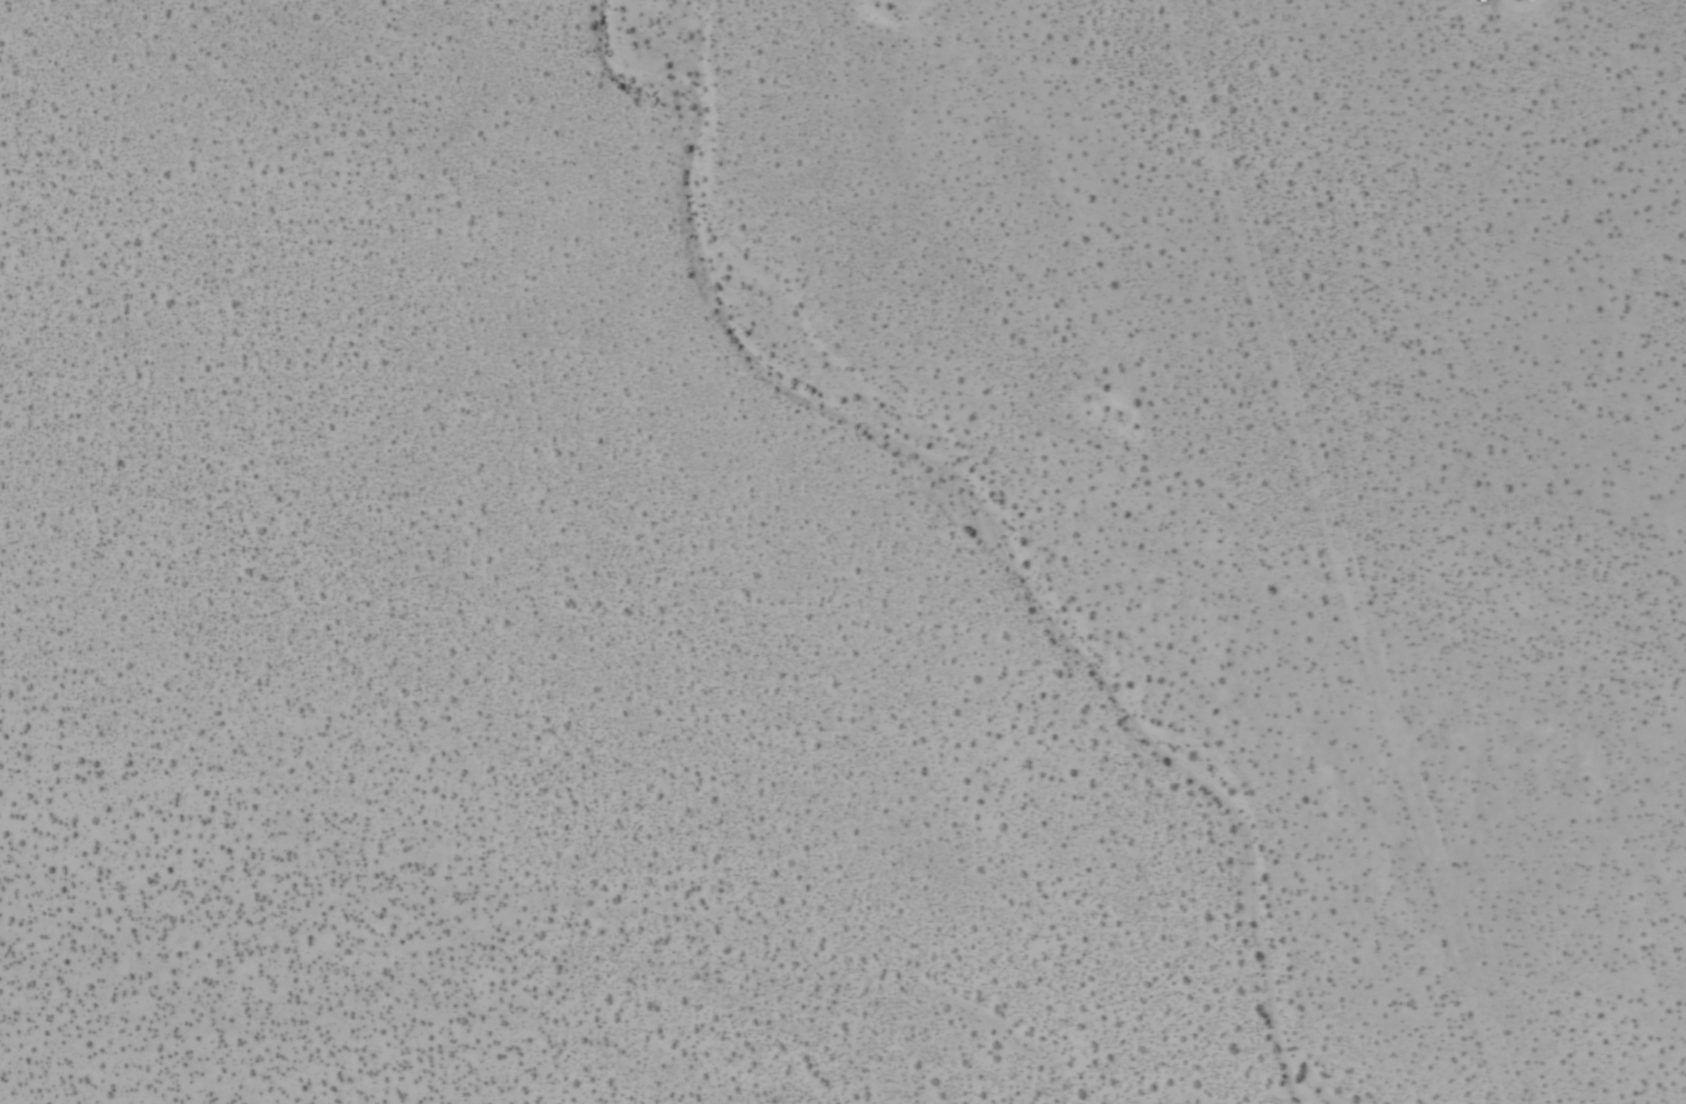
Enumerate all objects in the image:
road: (1331, 548)

